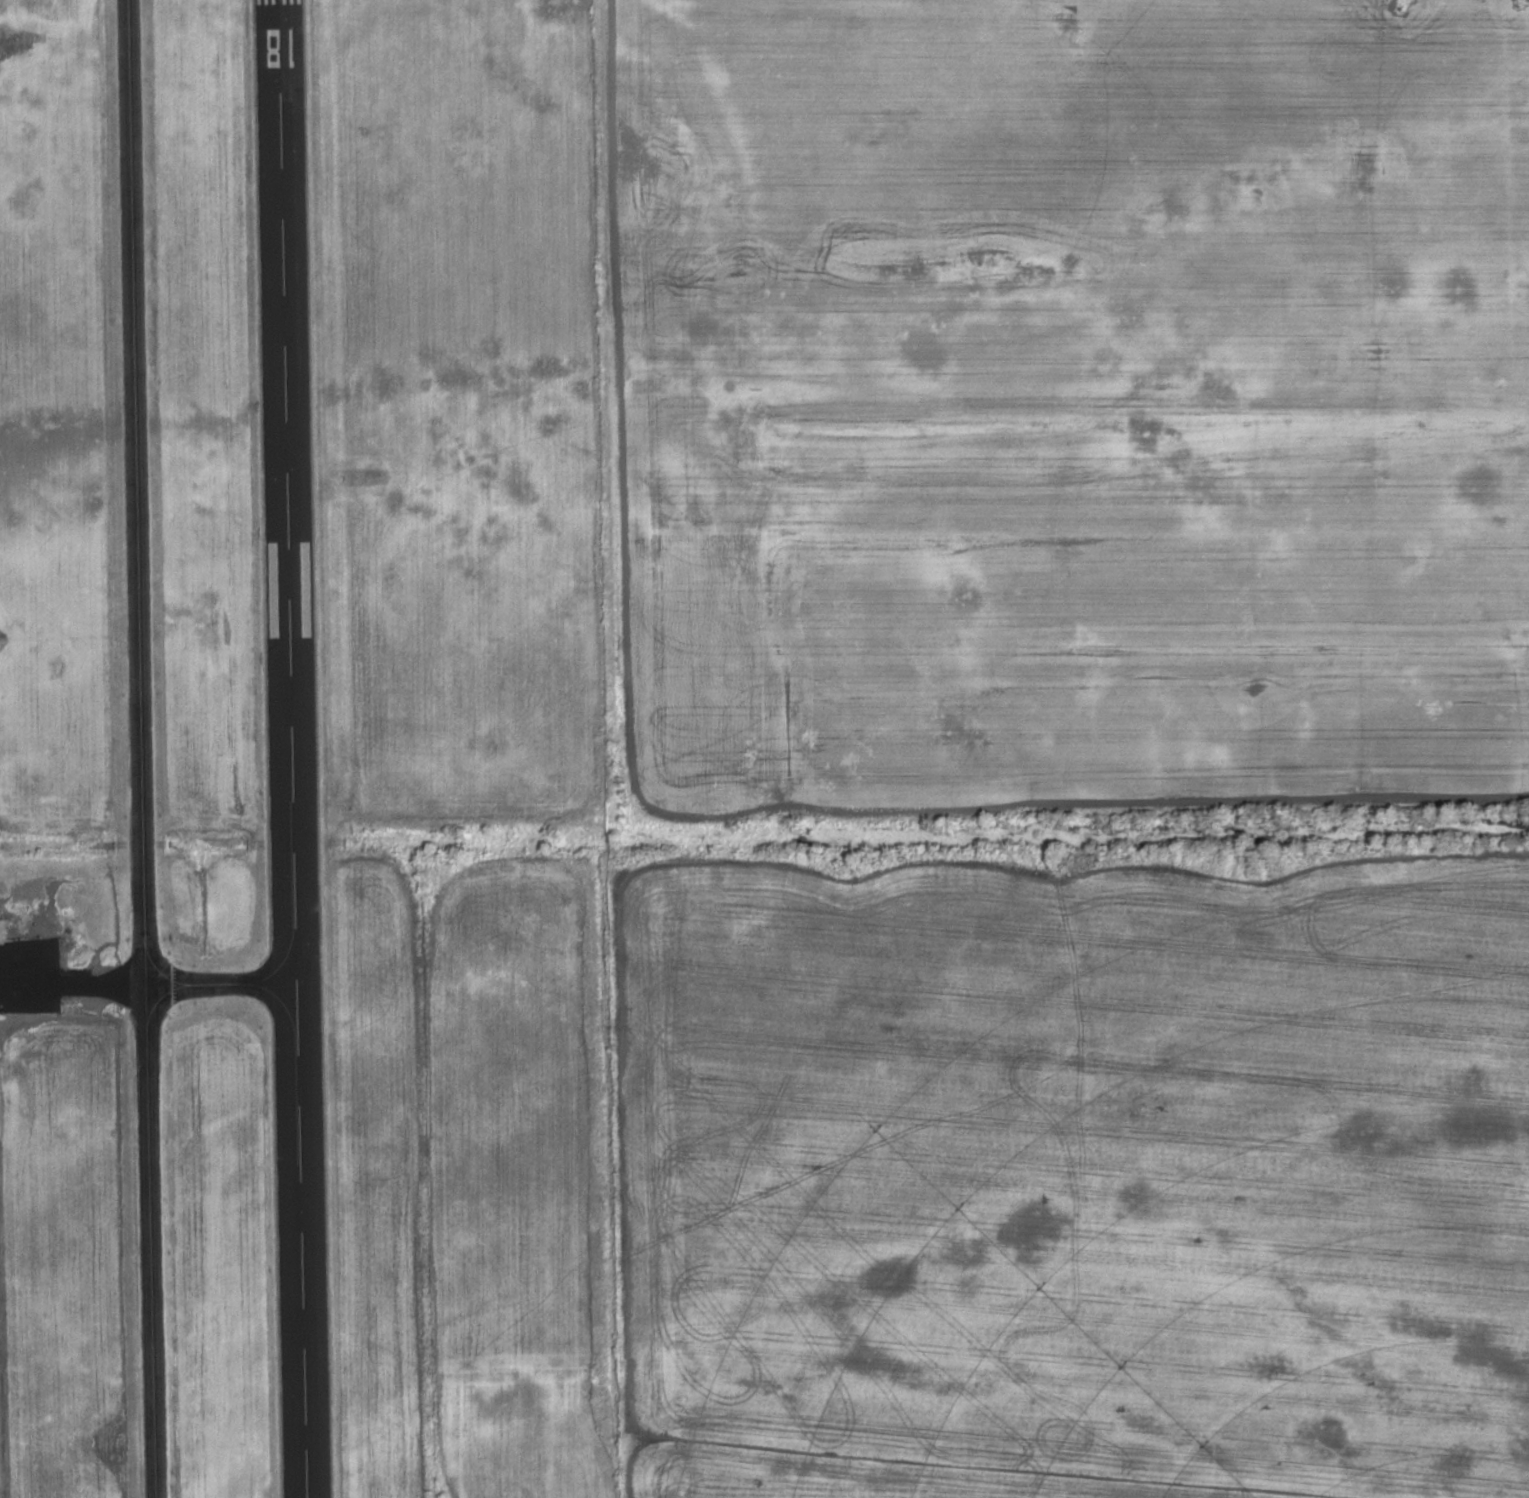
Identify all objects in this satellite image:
airport taxiway: (143, 748)
airport runway: (292, 749)
airport: (303, 753)
airport taxiway: (223, 983)

